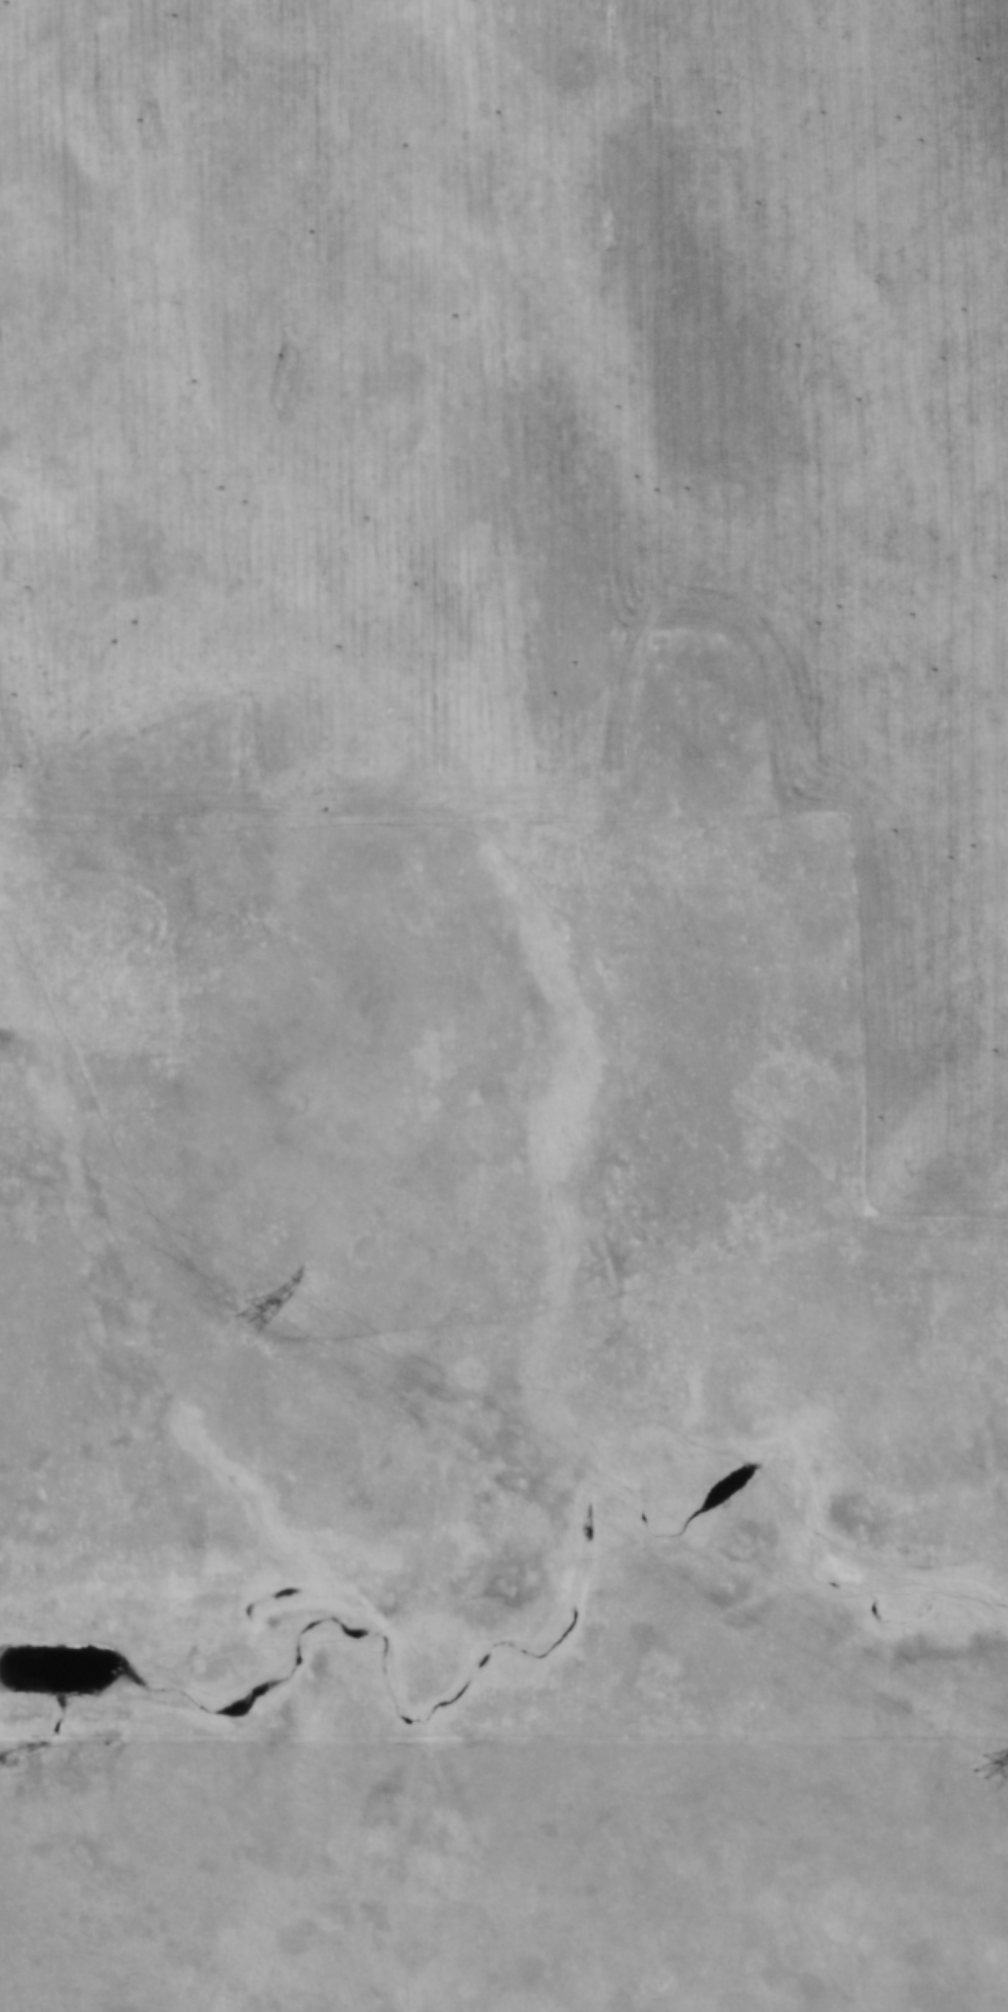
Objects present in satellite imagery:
power tower: (248, 1315)
power tower: (986, 1767)

